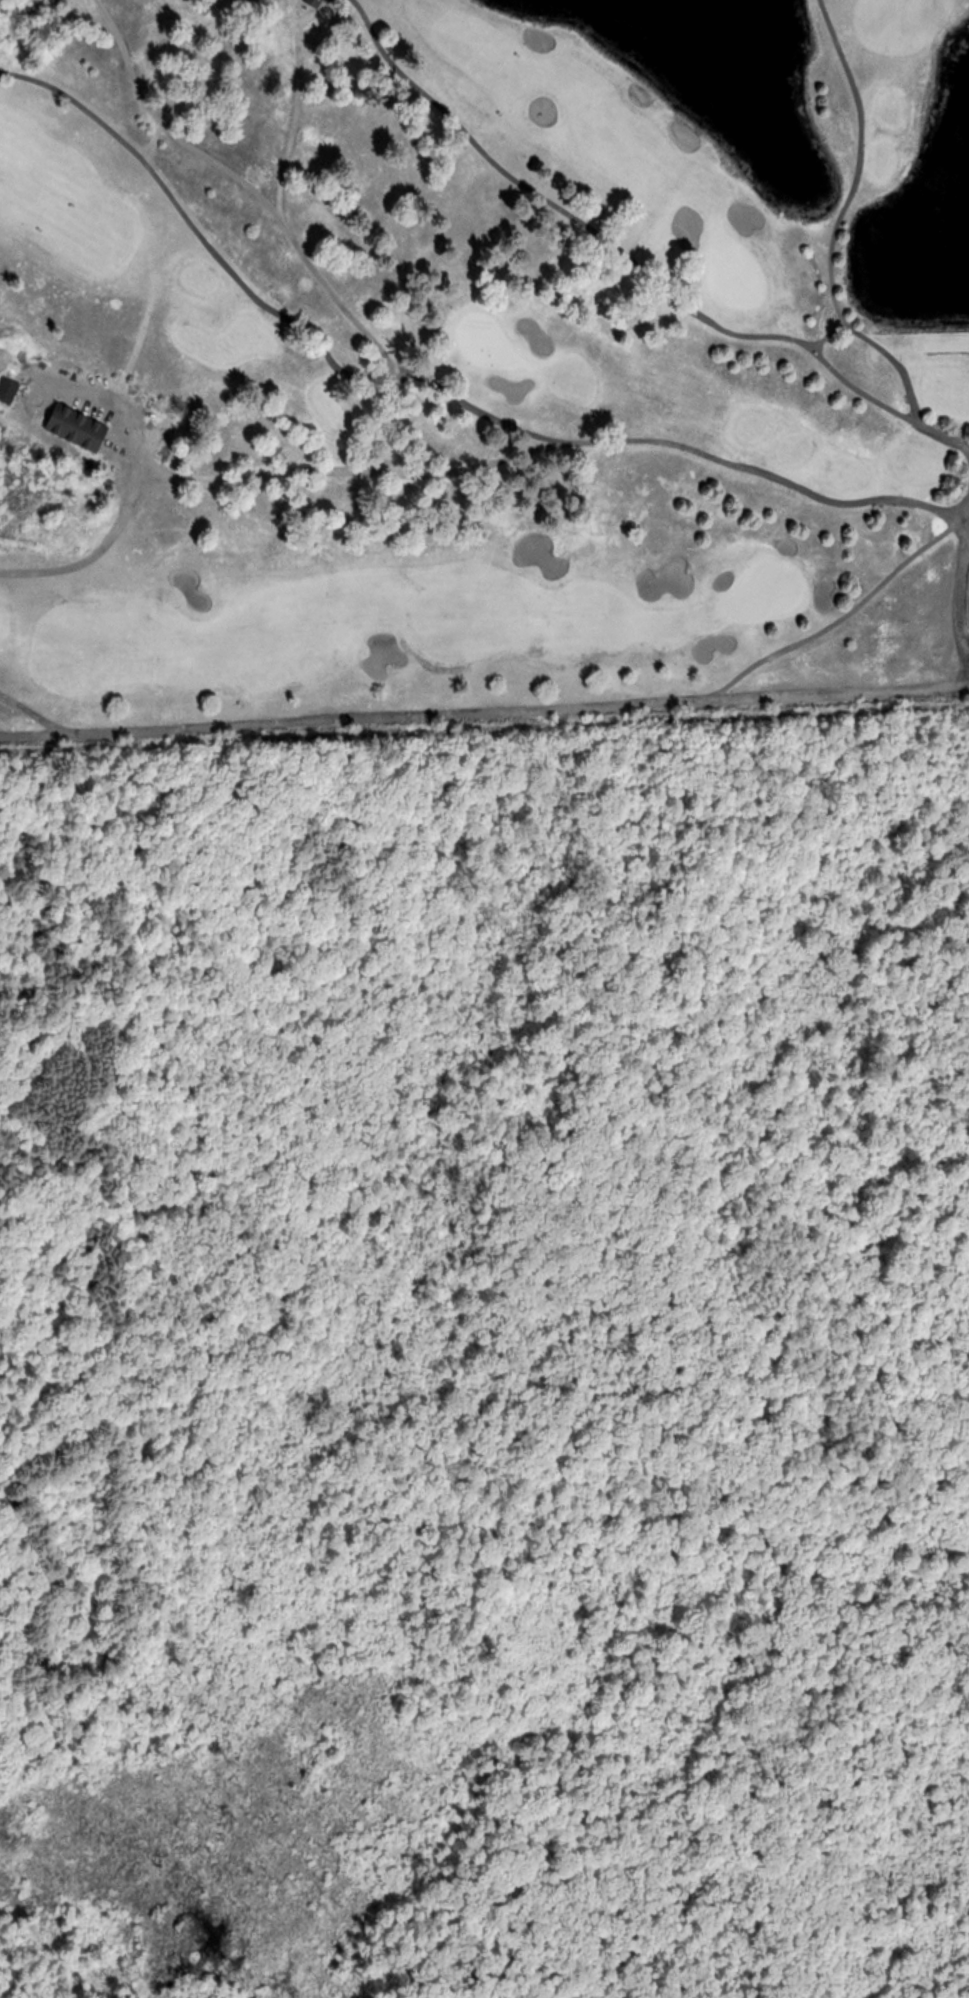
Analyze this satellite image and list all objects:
building: (316, 6)
road: (295, 116)
road: (842, 215)
road: (202, 237)
park: (732, 273)
road: (625, 274)
park: (479, 360)
building: (10, 391)
road: (448, 398)
building: (75, 425)
road: (347, 468)
road: (89, 555)
road: (845, 615)
road: (484, 713)
road: (41, 719)
park: (487, 1359)

